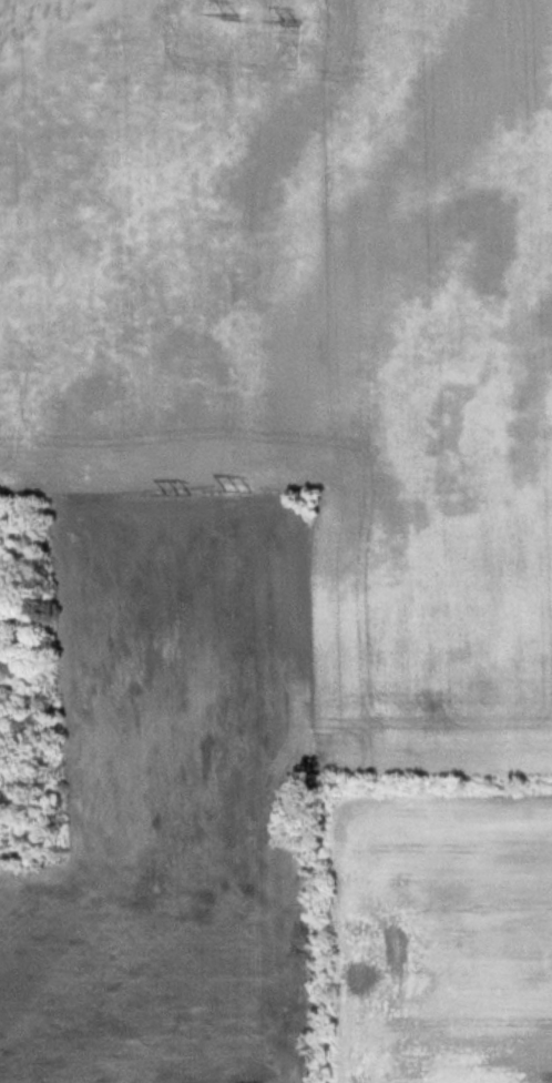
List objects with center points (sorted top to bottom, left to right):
power tower: (229, 11)
power tower: (285, 14)
power tower: (235, 485)
power tower: (177, 487)

